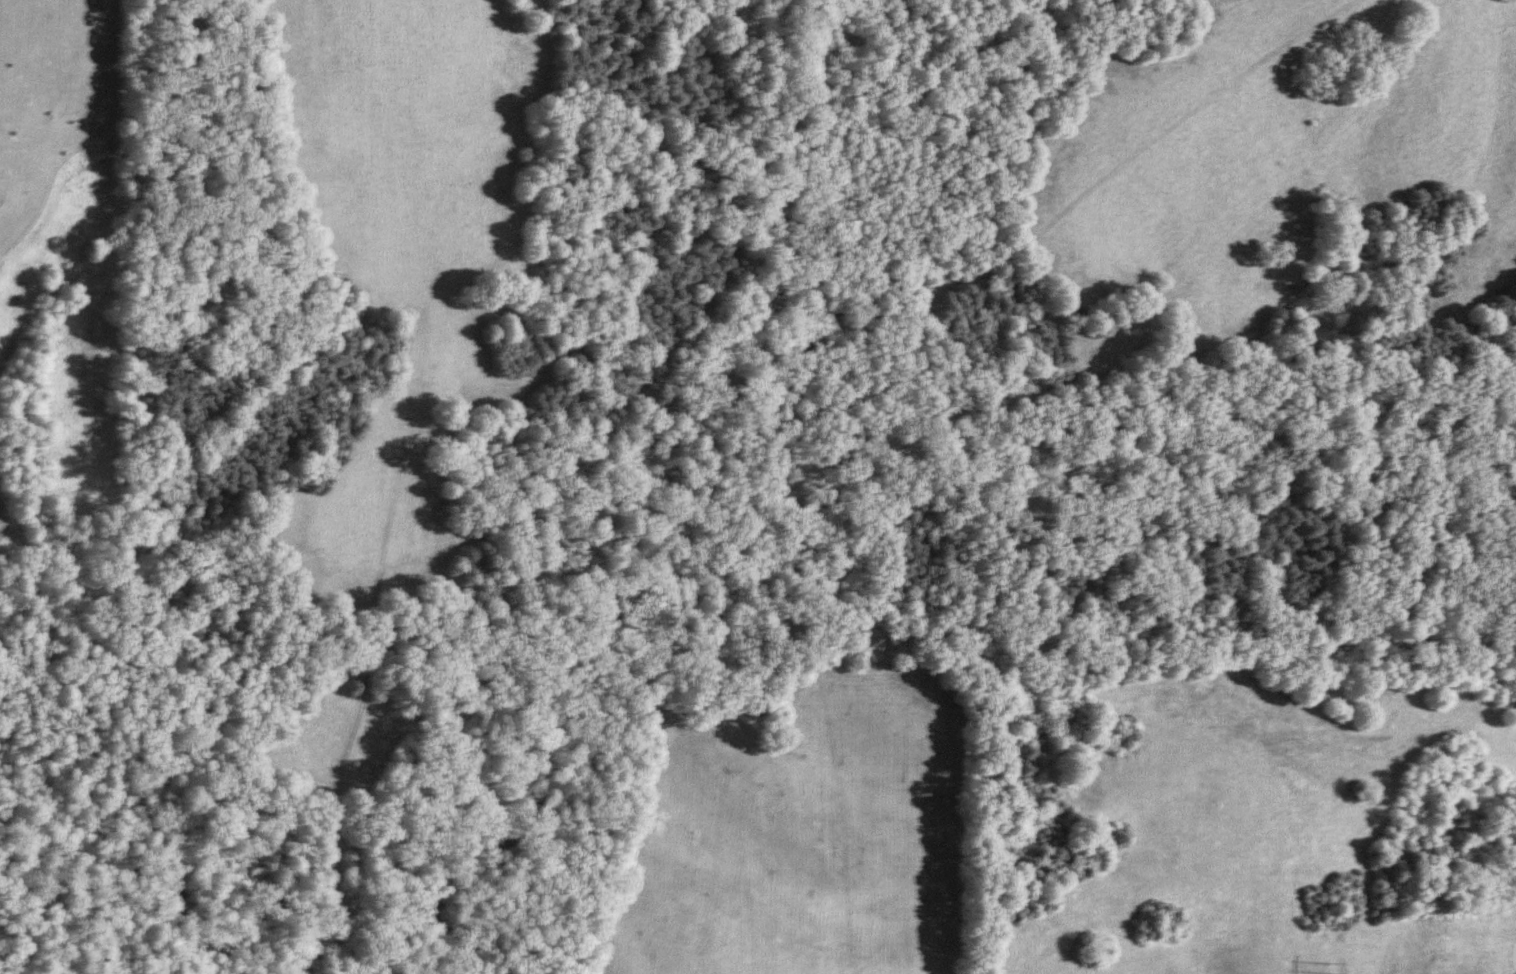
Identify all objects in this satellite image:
power tower: (1317, 965)

